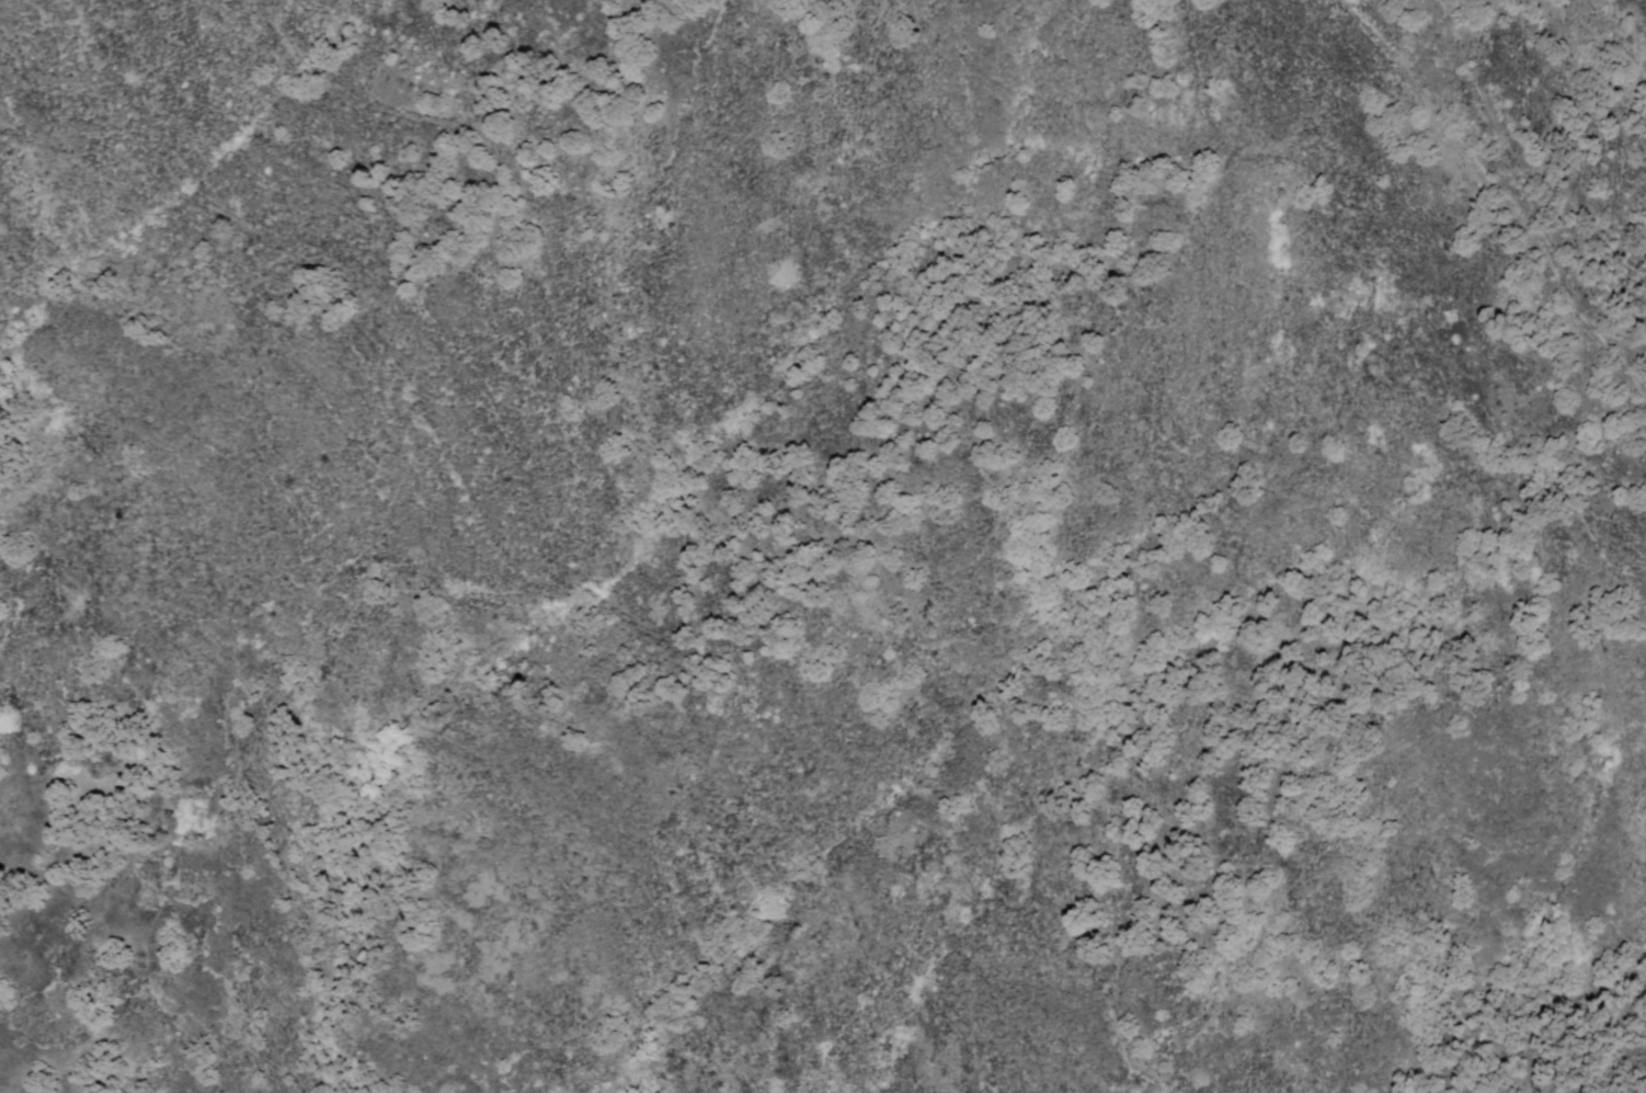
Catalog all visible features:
road: (1505, 203)

